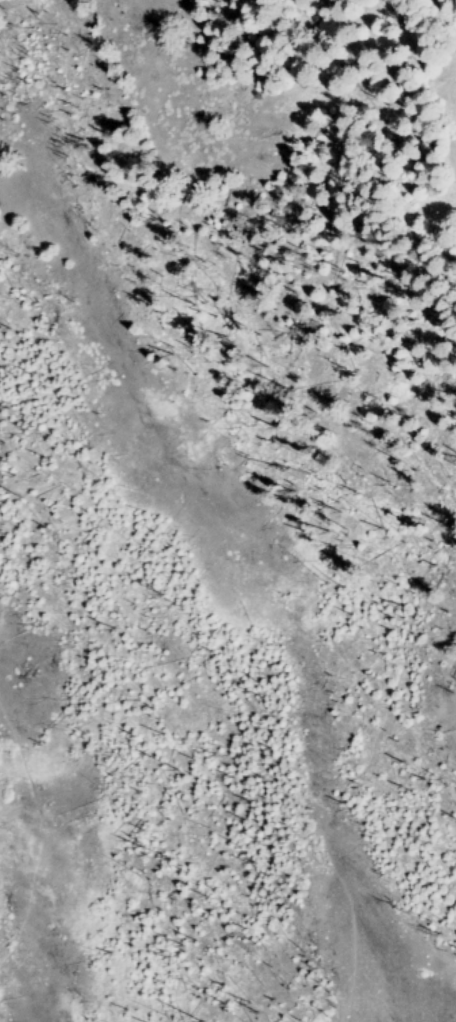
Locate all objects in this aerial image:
road: (355, 769)
road: (38, 831)

